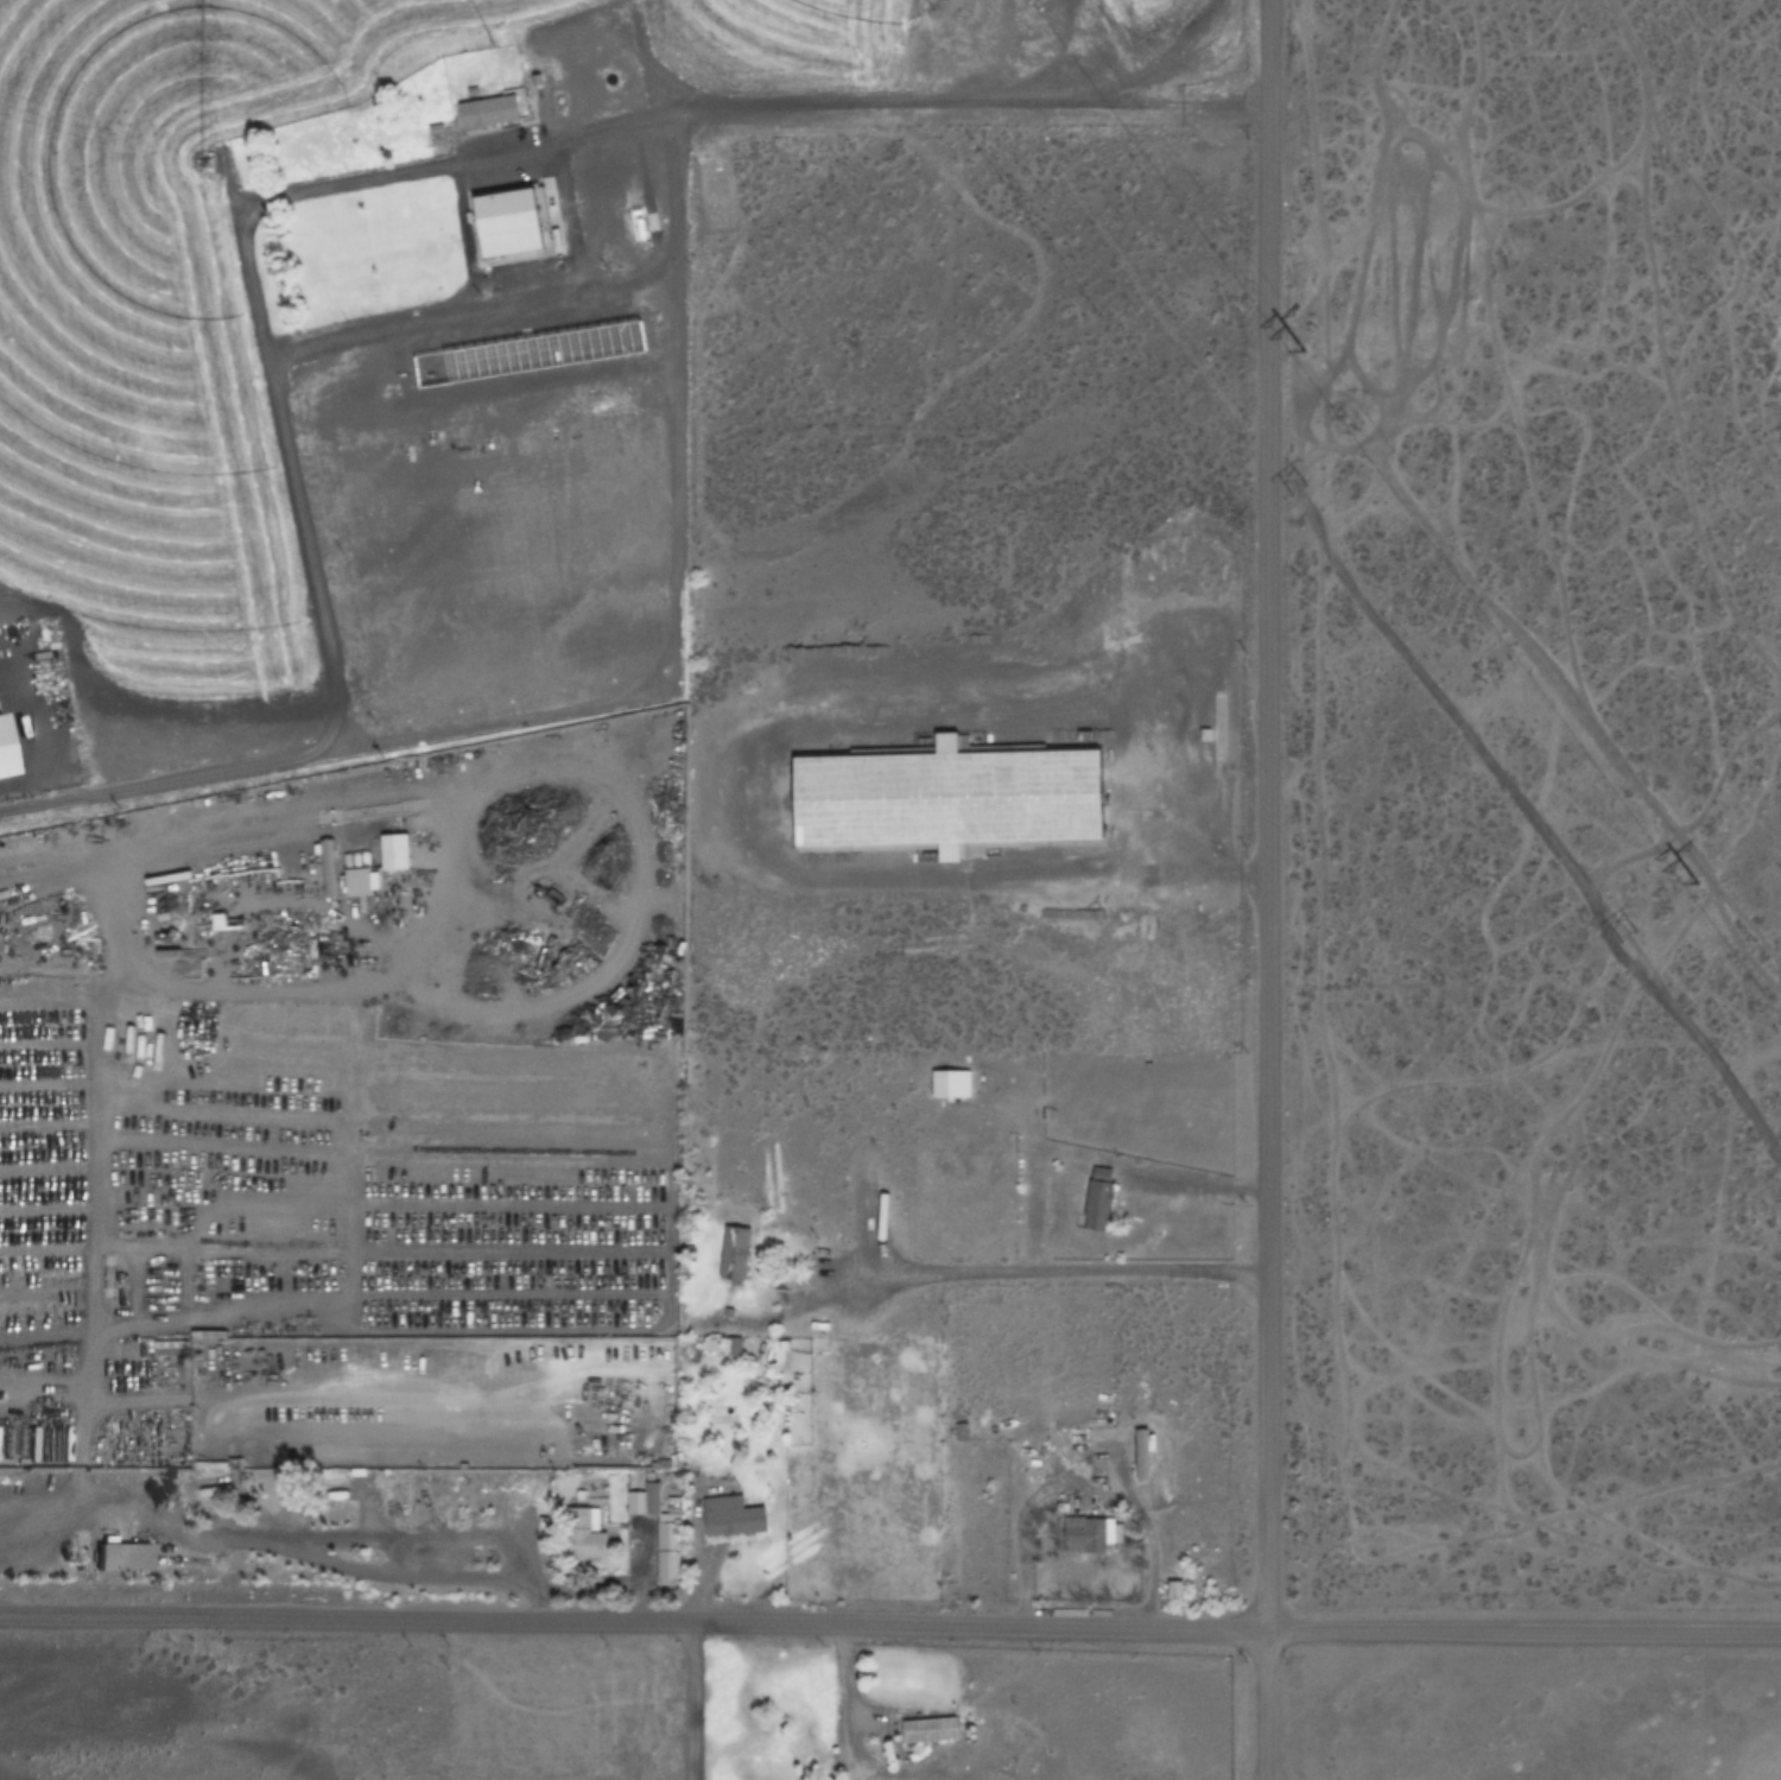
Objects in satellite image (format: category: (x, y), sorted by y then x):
building: (487, 110)
road: (1377, 170)
road: (1627, 170)
building: (512, 222)
road: (1378, 229)
road: (1731, 243)
road: (1325, 289)
road: (1403, 316)
power tower: (1301, 349)
road: (1658, 354)
road: (1496, 357)
road: (1444, 412)
power tower: (1300, 489)
road: (302, 526)
road: (1541, 660)
building: (2, 759)
road: (1490, 762)
building: (945, 799)
road: (1694, 810)
building: (393, 851)
building: (357, 882)
power tower: (1694, 882)
road: (1265, 889)
building: (217, 921)
power tower: (1633, 933)
road: (1780, 951)
road: (1699, 973)
road: (1750, 1058)
road: (1500, 1066)
building: (949, 1084)
road: (1519, 1157)
building: (856, 1163)
road: (1329, 1166)
road: (1654, 1184)
building: (1096, 1205)
road: (1413, 1222)
building: (734, 1253)
road: (1509, 1273)
road: (1530, 1298)
road: (1451, 1389)
building: (959, 1433)
building: (13, 1455)
building: (1140, 1455)
building: (395, 1488)
building: (730, 1518)
building: (664, 1528)
building: (582, 1534)
road: (1022, 1535)
building: (1090, 1535)
building: (122, 1558)
building: (1173, 1590)
road: (890, 1623)
road: (695, 1700)
road: (847, 1705)

